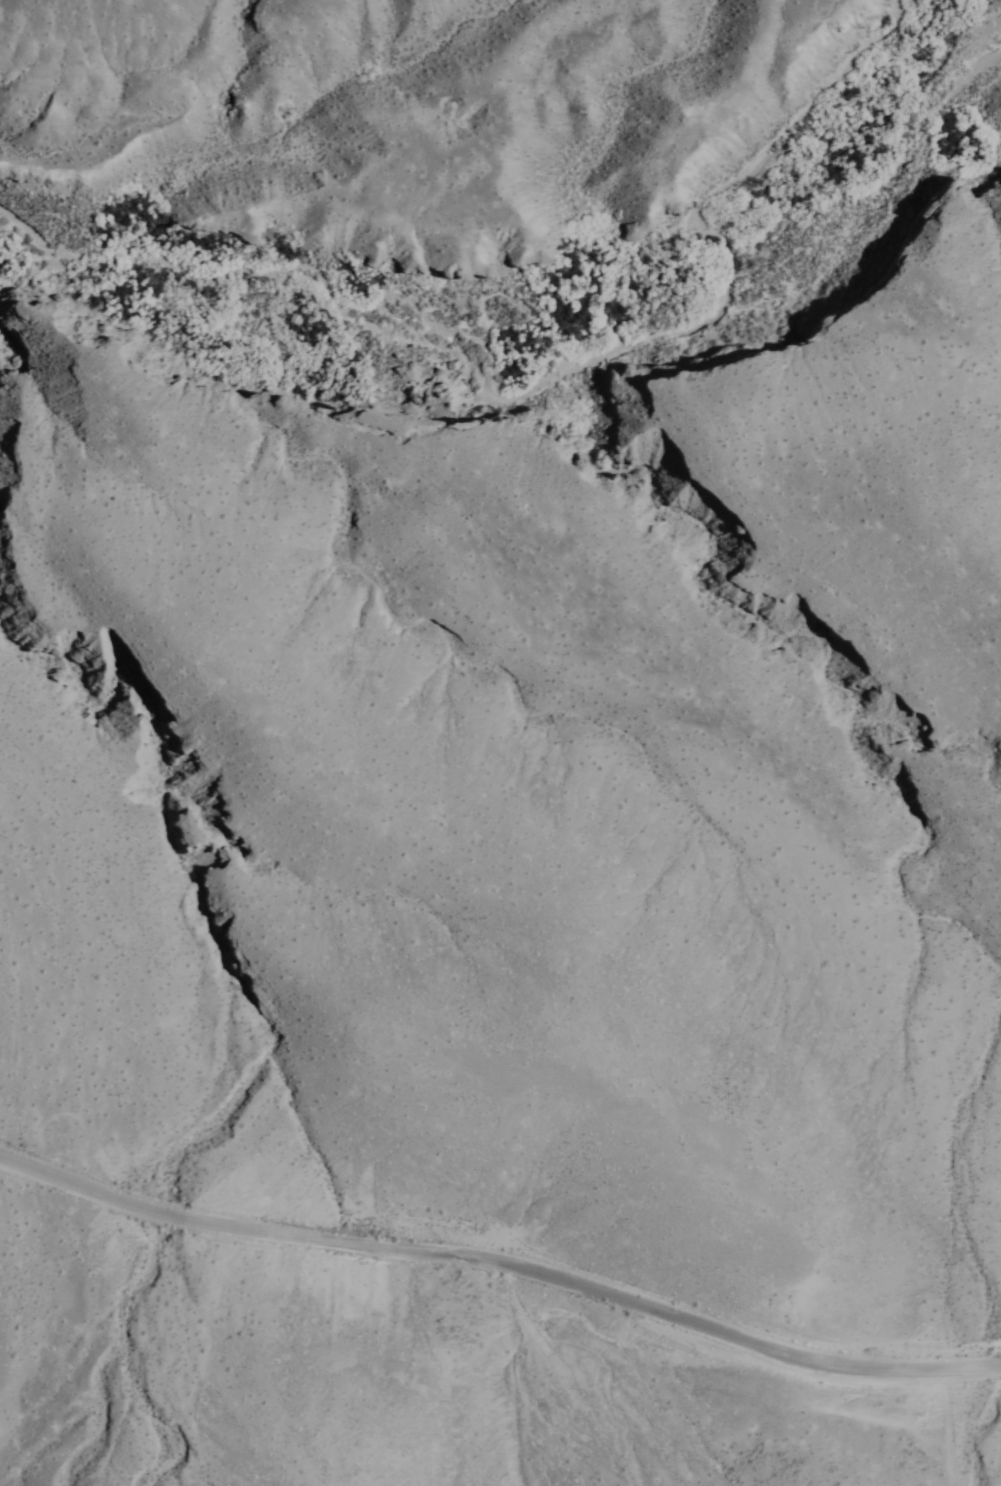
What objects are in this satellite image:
road: (498, 1273)

